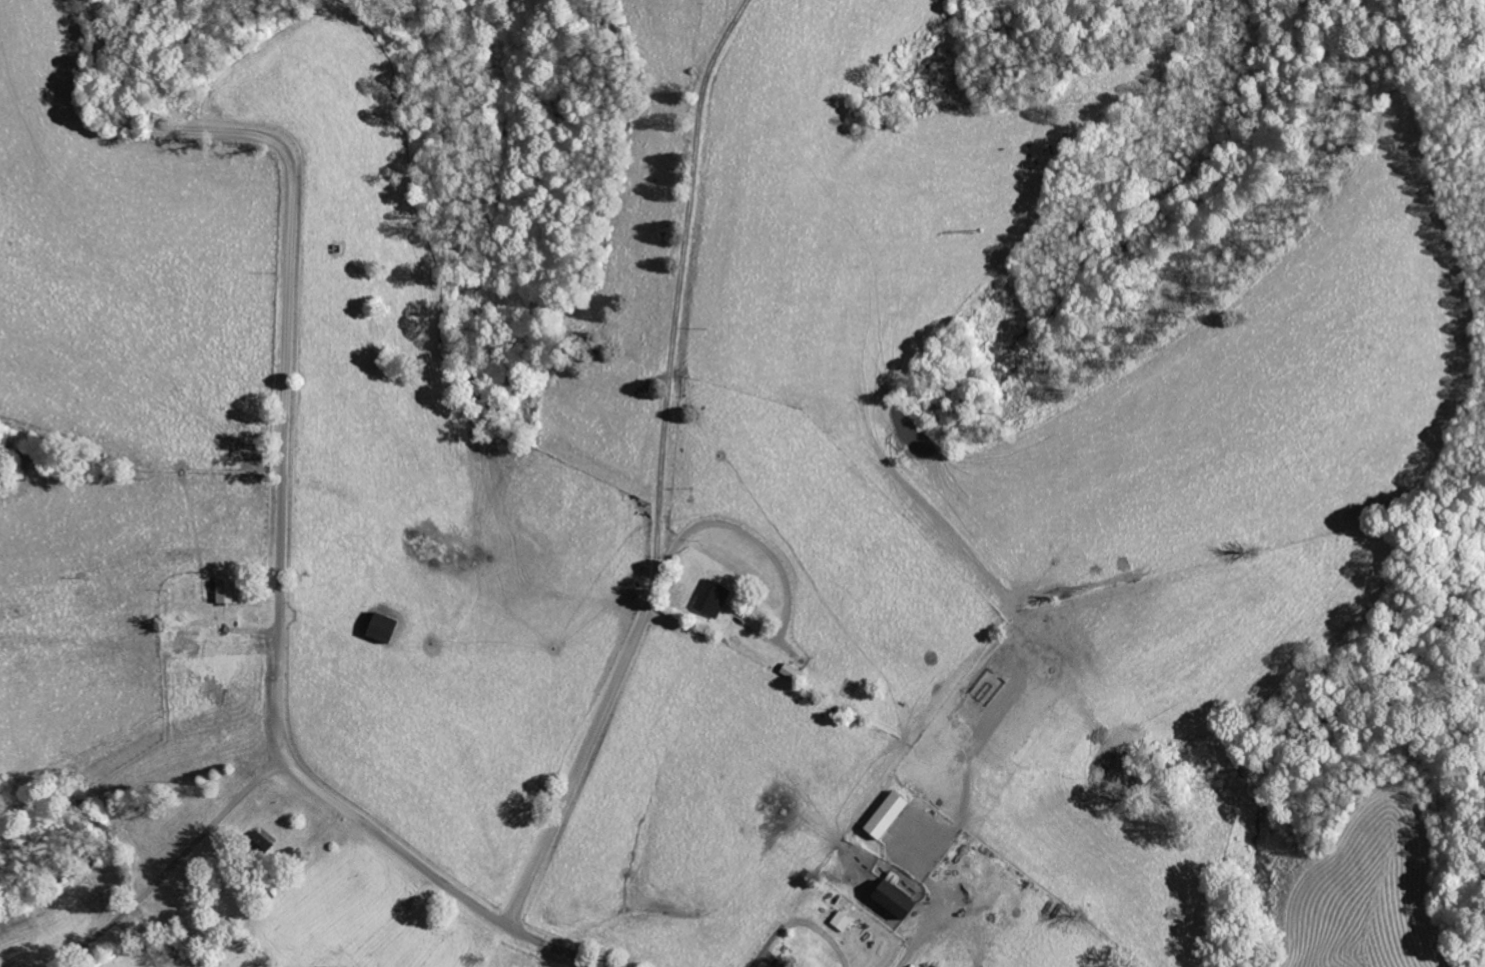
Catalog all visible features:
road: (284, 354)
road: (657, 487)
road: (775, 559)
building: (231, 592)
building: (713, 599)
building: (387, 629)
road: (599, 718)
building: (891, 816)
building: (901, 902)
road: (472, 905)
building: (784, 964)

